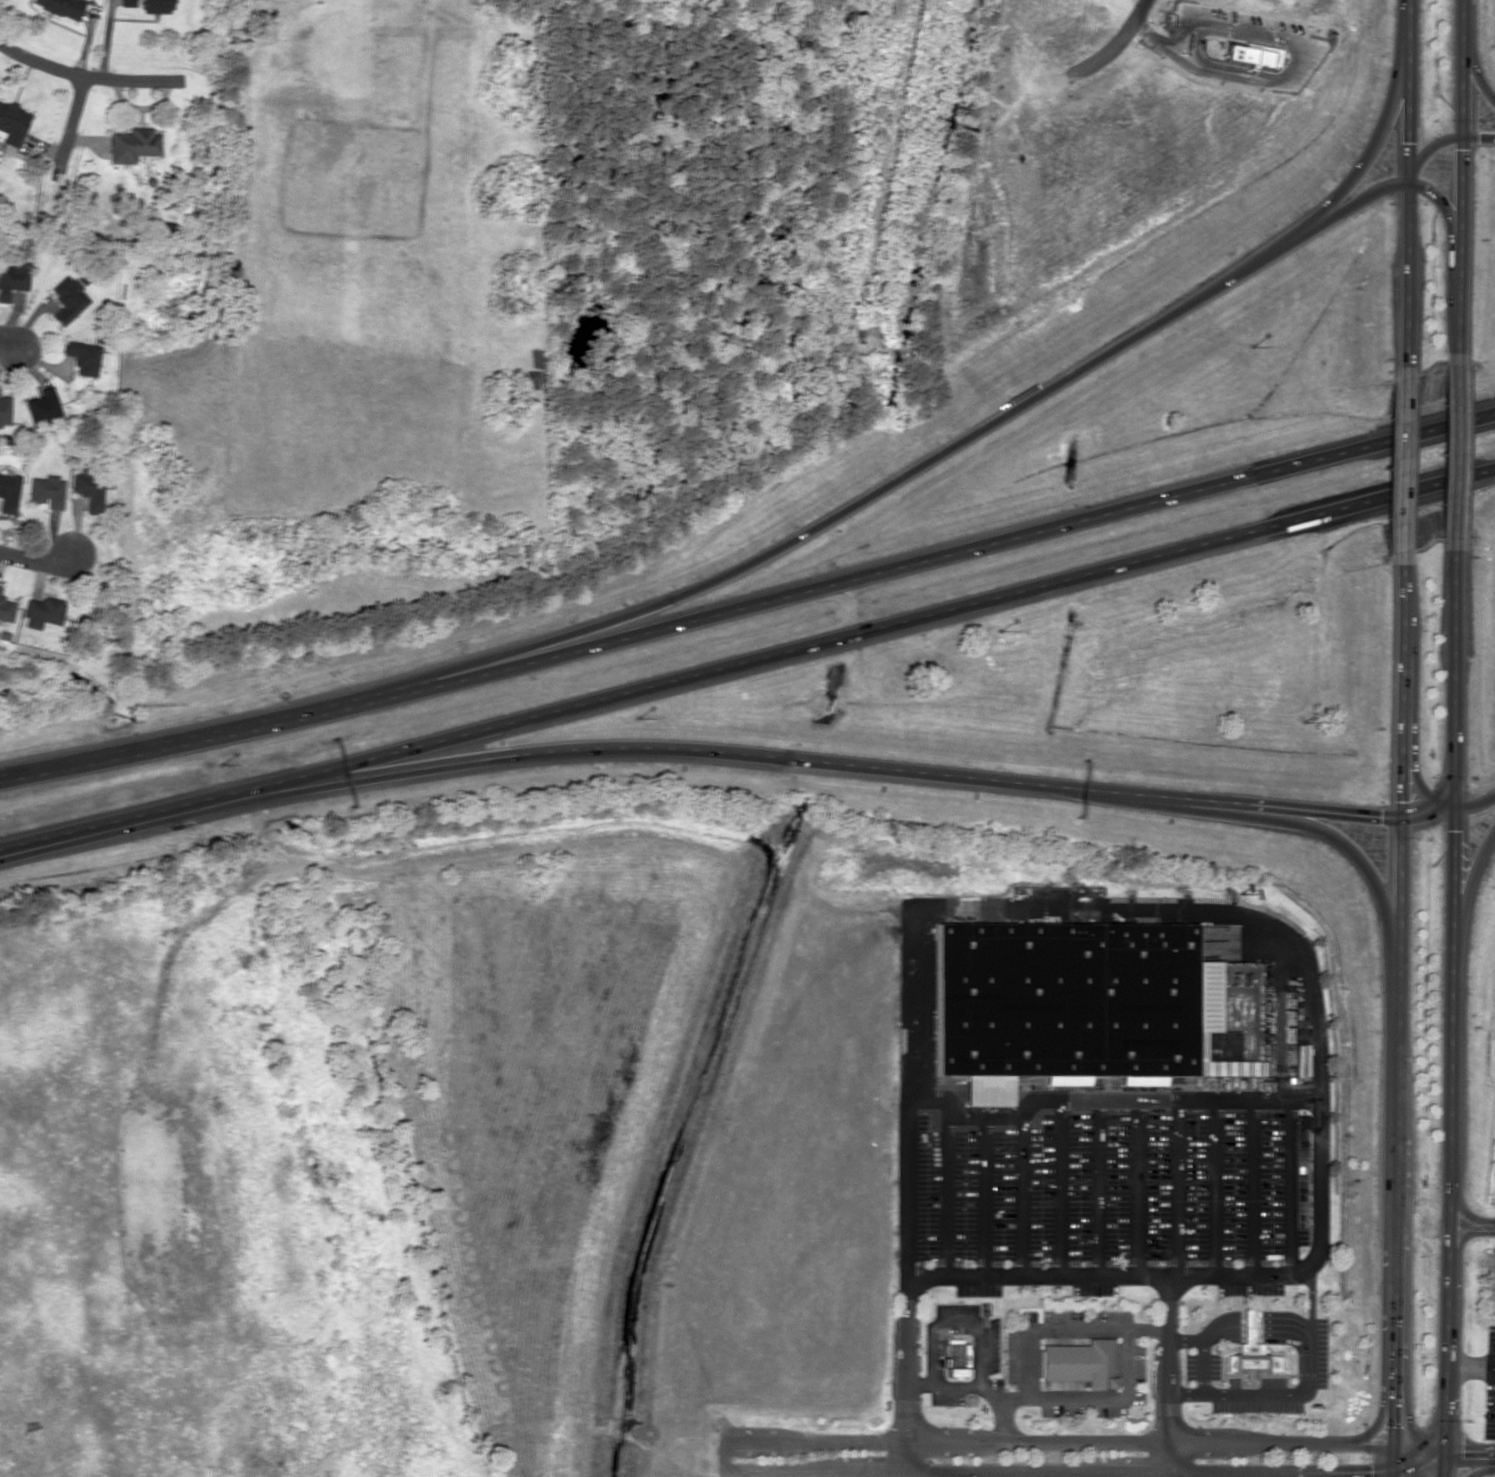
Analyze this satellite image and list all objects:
building: (127, 2)
building: (155, 6)
building: (62, 7)
road: (1150, 36)
road: (201, 38)
road: (1114, 45)
building: (1252, 55)
road: (1293, 56)
road: (1472, 60)
road: (1460, 68)
road: (95, 75)
building: (12, 122)
road: (73, 122)
road: (1377, 134)
traffic signals: (1460, 138)
road: (1438, 140)
building: (132, 145)
road: (1404, 181)
traffic signals: (1404, 182)
road: (1457, 250)
building: (13, 278)
building: (67, 299)
road: (9, 340)
building: (84, 355)
building: (42, 406)
building: (4, 409)
road: (1455, 449)
road: (1400, 457)
road: (912, 466)
building: (88, 489)
building: (46, 490)
building: (8, 492)
road: (36, 558)
building: (0, 586)
road: (749, 603)
building: (6, 609)
building: (42, 611)
road: (747, 661)
road: (859, 764)
road: (1428, 795)
traffic signals: (1451, 807)
traffic signals: (1396, 816)
road: (1336, 839)
road: (1464, 883)
road: (1166, 906)
building: (1063, 997)
road: (1447, 1006)
road: (1394, 1013)
road: (1106, 1098)
road: (1461, 1212)
road: (1490, 1225)
road: (1461, 1234)
road: (1037, 1275)
building: (1249, 1351)
building: (956, 1358)
building: (1079, 1362)
road: (1172, 1442)
traffic signals: (1440, 1452)
road: (1467, 1452)
road: (903, 1456)
road: (1167, 1459)
road: (1479, 1469)
road: (978, 1470)
road: (1264, 1474)

